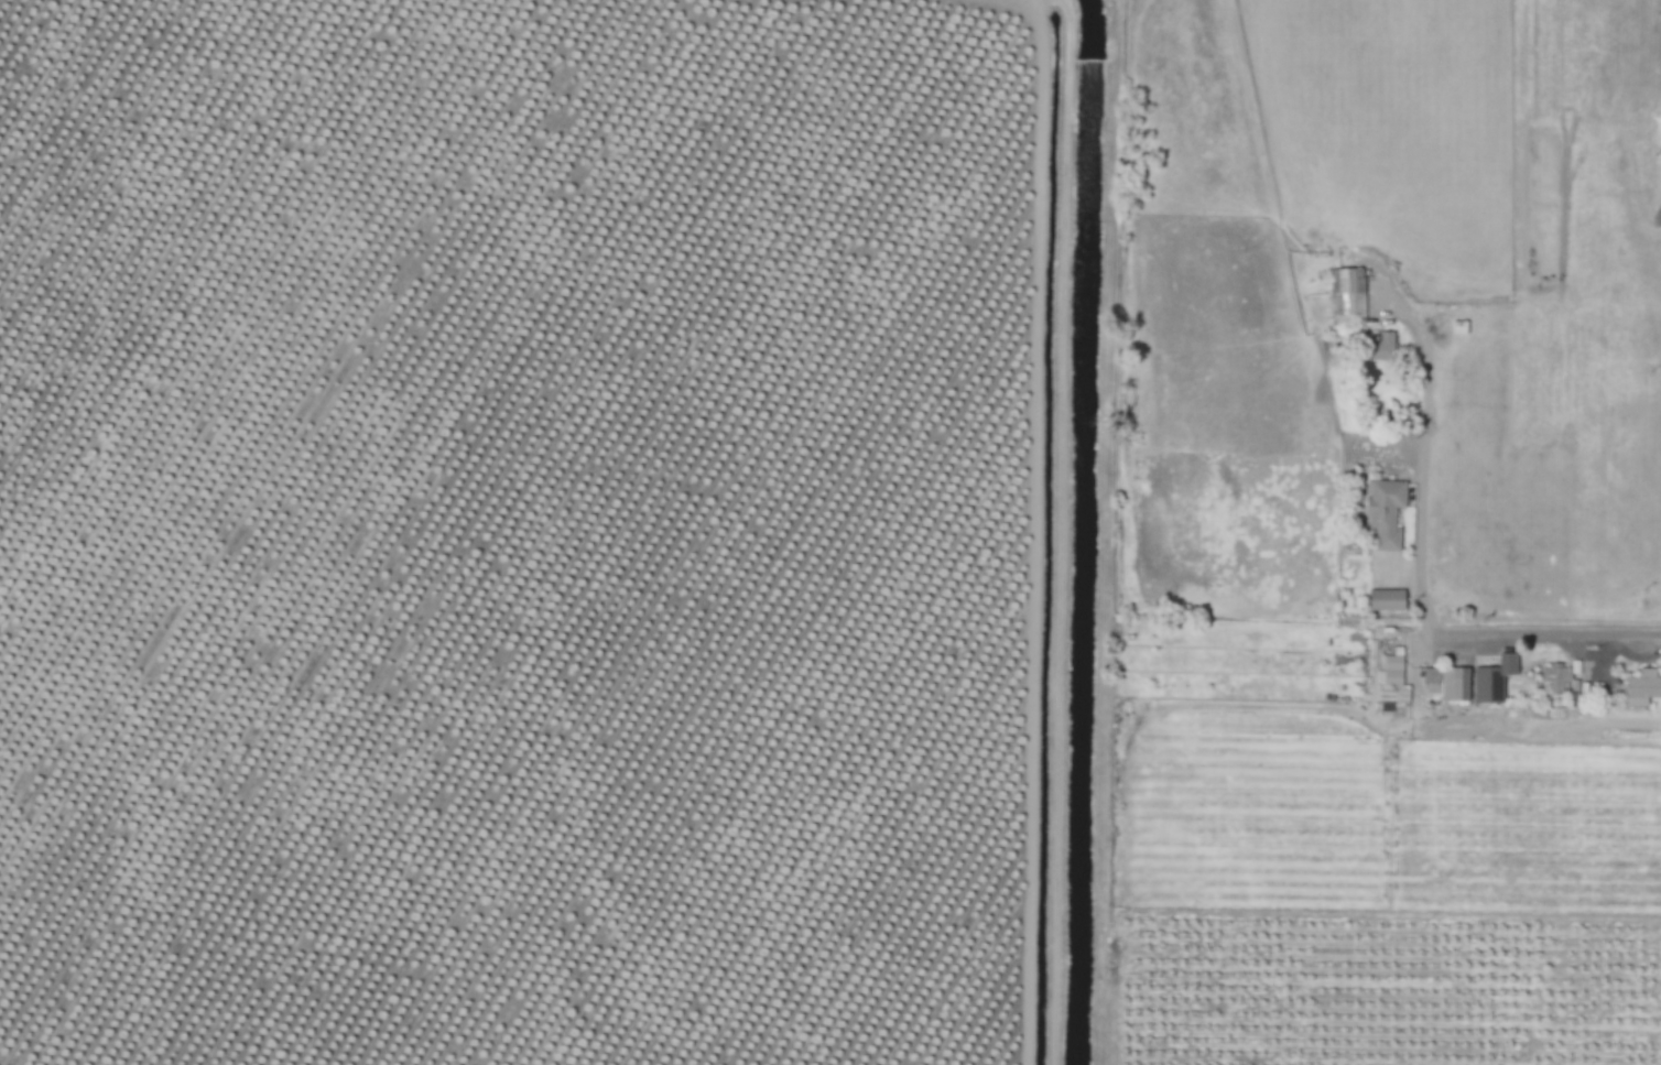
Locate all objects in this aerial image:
building: (1348, 298)
building: (1383, 347)
road: (1423, 459)
building: (1387, 513)
road: (1063, 530)
building: (1386, 600)
road: (1553, 641)
building: (1397, 678)
building: (1557, 680)
building: (1494, 681)
building: (1447, 685)
building: (1642, 688)

